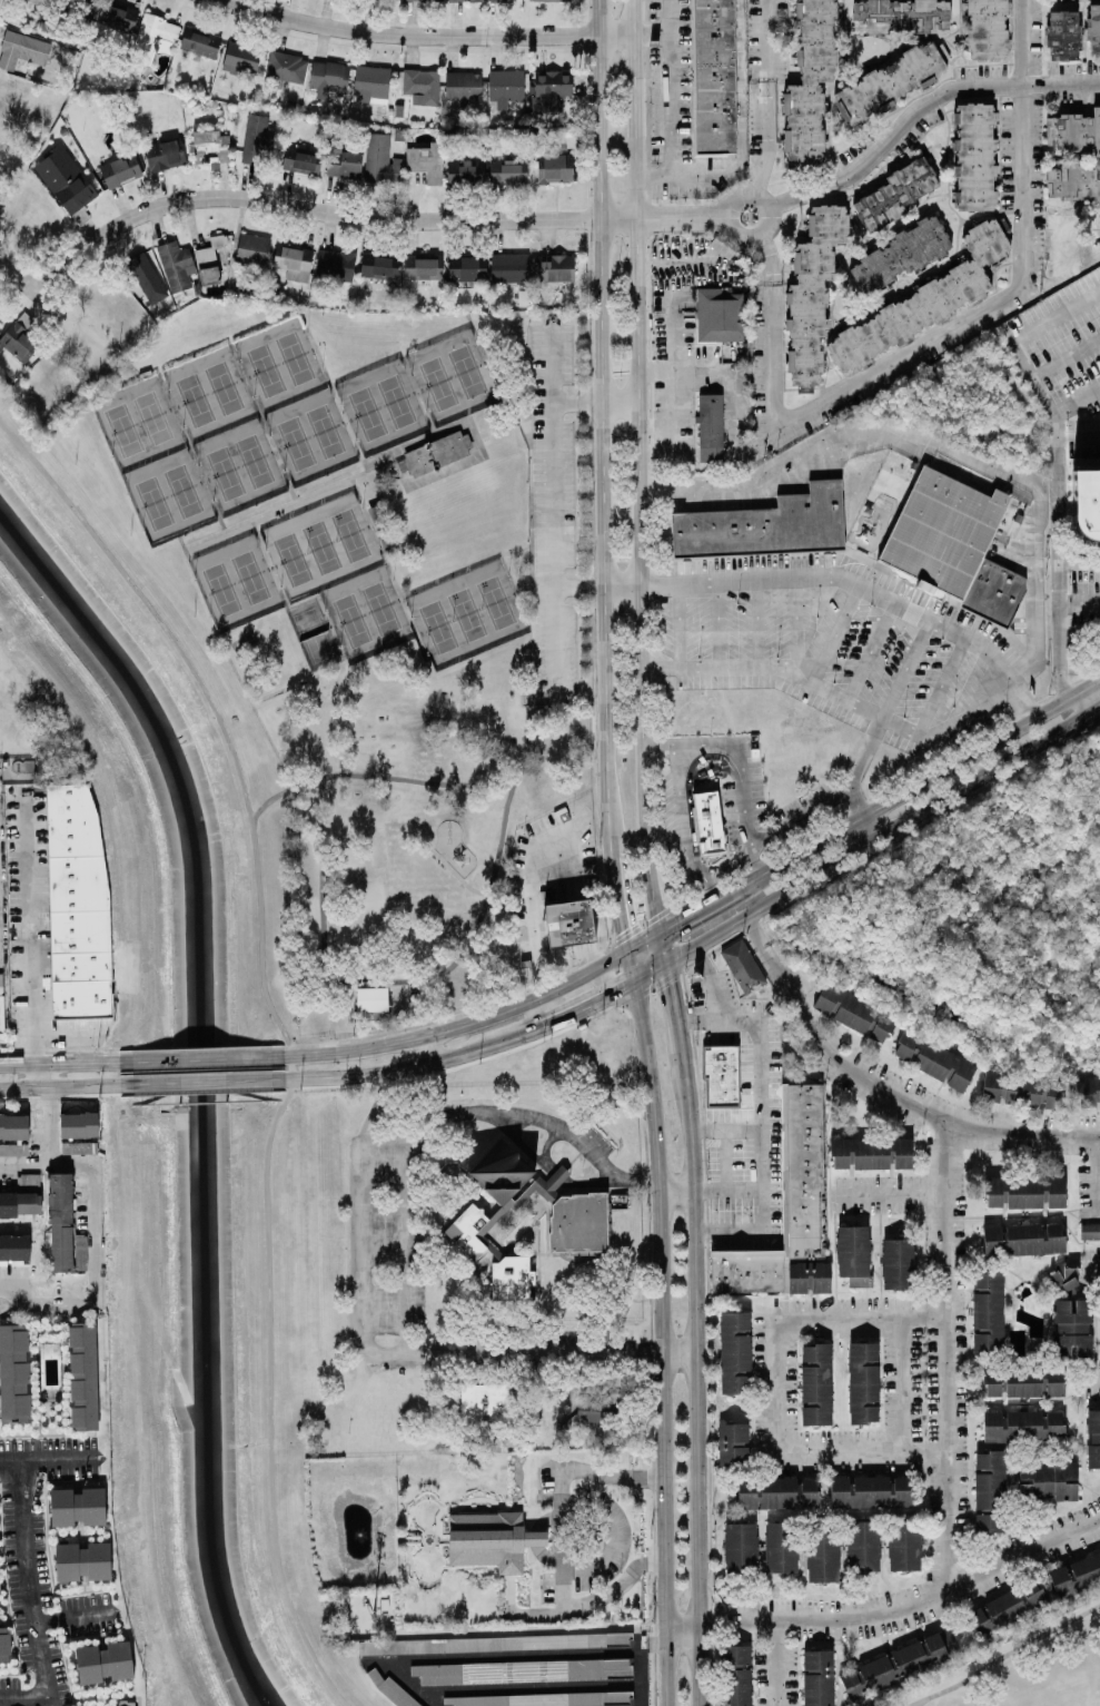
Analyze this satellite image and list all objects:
building: (429, 0)
building: (465, 0)
building: (492, 0)
building: (551, 0)
building: (41, 1)
building: (901, 16)
building: (118, 17)
building: (1093, 28)
building: (987, 29)
road: (428, 36)
road: (652, 36)
building: (1063, 36)
building: (153, 38)
building: (200, 42)
building: (22, 49)
building: (240, 58)
building: (286, 67)
building: (716, 76)
building: (328, 78)
building: (892, 81)
building: (810, 82)
building: (371, 83)
building: (422, 86)
building: (464, 86)
building: (505, 87)
road: (670, 88)
road: (769, 97)
road: (922, 109)
building: (63, 131)
building: (257, 134)
road: (743, 137)
building: (210, 146)
building: (165, 154)
building: (1097, 156)
building: (974, 157)
building: (300, 158)
building: (381, 160)
building: (426, 161)
building: (344, 162)
building: (555, 167)
building: (120, 170)
building: (465, 172)
building: (508, 172)
building: (67, 183)
building: (894, 195)
road: (714, 213)
road: (350, 216)
road: (712, 220)
road: (747, 239)
building: (1068, 239)
building: (254, 248)
building: (899, 256)
building: (209, 260)
building: (294, 262)
road: (668, 263)
building: (176, 265)
building: (335, 265)
building: (379, 266)
building: (423, 267)
building: (509, 267)
building: (467, 268)
building: (557, 268)
building: (146, 277)
road: (31, 287)
building: (812, 293)
building: (923, 302)
building: (720, 315)
road: (672, 325)
road: (940, 332)
building: (19, 338)
road: (1067, 356)
park: (452, 377)
road: (417, 396)
road: (1049, 398)
road: (335, 400)
park: (295, 402)
road: (1078, 402)
road: (594, 404)
park: (380, 408)
road: (675, 408)
building: (711, 422)
road: (262, 423)
road: (501, 425)
road: (599, 428)
park: (222, 431)
road: (1080, 437)
road: (939, 446)
road: (396, 448)
road: (189, 453)
building: (436, 454)
park: (152, 462)
road: (636, 466)
parking lot: (551, 501)
building: (1092, 502)
road: (552, 507)
building: (766, 526)
building: (944, 531)
road: (386, 568)
road: (463, 570)
park: (339, 575)
road: (825, 575)
park: (235, 584)
road: (513, 586)
road: (1080, 603)
road: (286, 607)
road: (1060, 614)
park: (465, 615)
park: (385, 618)
road: (757, 624)
road: (680, 625)
road: (717, 625)
road: (795, 625)
road: (835, 632)
park: (311, 637)
road: (872, 650)
road: (906, 668)
road: (942, 683)
road: (833, 694)
road: (1078, 706)
road: (735, 757)
road: (375, 777)
road: (929, 779)
road: (854, 807)
road: (817, 810)
road: (922, 811)
building: (707, 820)
road: (869, 829)
road: (684, 841)
road: (457, 875)
road: (1, 885)
road: (2, 885)
road: (710, 889)
road: (532, 895)
road: (622, 904)
building: (78, 905)
road: (710, 905)
park: (981, 916)
building: (569, 921)
traffic signals: (661, 931)
road: (31, 934)
road: (645, 940)
road: (704, 941)
road: (663, 949)
traffic signals: (630, 950)
road: (632, 966)
building: (743, 966)
traffic signals: (666, 968)
road: (651, 975)
road: (432, 976)
road: (711, 982)
traffic signals: (635, 983)
building: (1, 1004)
building: (373, 1004)
building: (854, 1012)
road: (677, 1022)
road: (462, 1025)
road: (283, 1034)
road: (425, 1049)
road: (463, 1053)
road: (200, 1057)
building: (935, 1059)
road: (60, 1063)
road: (43, 1076)
building: (722, 1076)
road: (199, 1083)
road: (58, 1088)
river: (196, 1088)
road: (882, 1088)
building: (1022, 1091)
building: (1089, 1091)
park: (187, 1101)
road: (759, 1115)
road: (535, 1118)
building: (79, 1124)
road: (44, 1125)
building: (13, 1126)
road: (723, 1128)
parking lot: (594, 1137)
road: (546, 1146)
building: (77, 1147)
building: (13, 1148)
building: (872, 1153)
road: (726, 1158)
building: (503, 1172)
road: (548, 1172)
road: (1094, 1173)
building: (30, 1180)
road: (725, 1190)
road: (676, 1192)
road: (890, 1192)
building: (1024, 1192)
building: (20, 1204)
building: (789, 1212)
building: (61, 1222)
building: (579, 1224)
building: (1090, 1231)
building: (470, 1232)
road: (366, 1236)
building: (1023, 1239)
building: (13, 1245)
road: (87, 1254)
parking lot: (387, 1254)
building: (854, 1254)
building: (898, 1263)
road: (1093, 1266)
road: (459, 1272)
building: (1064, 1274)
building: (513, 1280)
road: (537, 1281)
building: (988, 1311)
building: (1071, 1328)
road: (662, 1343)
road: (409, 1350)
building: (735, 1352)
road: (947, 1355)
building: (13, 1373)
building: (83, 1375)
road: (1093, 1377)
building: (863, 1382)
road: (906, 1382)
building: (1024, 1382)
road: (773, 1383)
building: (816, 1383)
road: (696, 1390)
building: (484, 1402)
building: (582, 1413)
building: (1023, 1426)
building: (1093, 1439)
building: (732, 1443)
road: (48, 1459)
building: (990, 1480)
building: (1048, 1480)
building: (870, 1491)
building: (777, 1492)
building: (77, 1506)
building: (990, 1522)
road: (614, 1536)
building: (490, 1539)
road: (561, 1544)
building: (904, 1545)
building: (780, 1546)
building: (863, 1546)
building: (741, 1547)
building: (823, 1556)
building: (82, 1560)
building: (1076, 1577)
road: (30, 1601)
road: (905, 1605)
building: (1005, 1609)
road: (73, 1615)
road: (683, 1625)
road: (533, 1630)
building: (4, 1643)
building: (495, 1643)
road: (528, 1654)
building: (103, 1661)
road: (776, 1664)
building: (900, 1664)
park: (1027, 1667)
building: (523, 1670)
building: (735, 1675)
building: (817, 1678)
road: (412, 1685)
road: (529, 1687)
building: (390, 1688)
building: (544, 1699)
building: (127, 1703)

